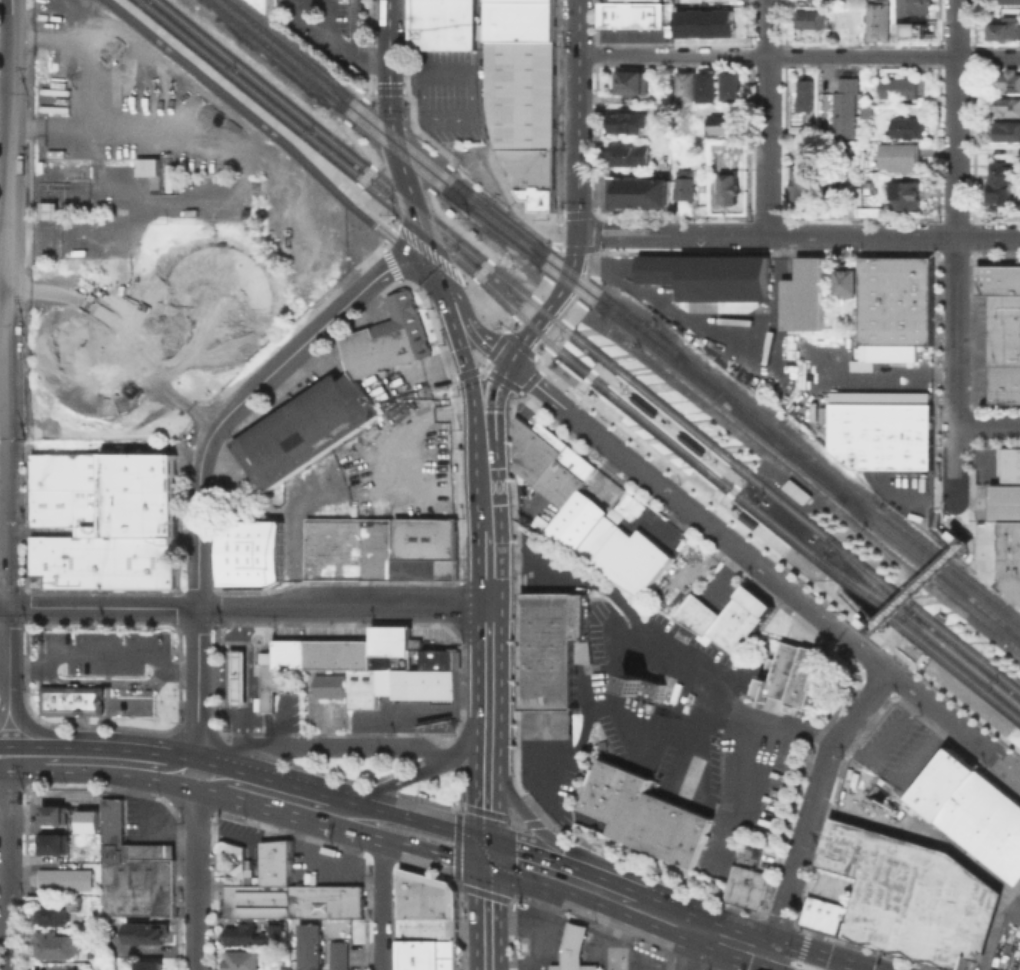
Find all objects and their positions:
building: (1010, 2)
building: (912, 7)
building: (615, 13)
building: (647, 13)
building: (522, 20)
building: (878, 20)
building: (813, 21)
building: (442, 24)
building: (709, 24)
building: (1007, 30)
building: (915, 31)
parking lot: (333, 32)
road: (336, 40)
road: (405, 45)
road: (373, 46)
road: (799, 56)
traffic signals: (388, 81)
building: (629, 81)
building: (1010, 83)
building: (686, 84)
building: (733, 84)
building: (709, 85)
road: (387, 89)
building: (901, 89)
parking lot: (446, 92)
building: (805, 93)
road: (368, 94)
road: (234, 104)
building: (1009, 108)
road: (354, 109)
road: (557, 110)
building: (846, 111)
road: (261, 112)
building: (525, 114)
road: (577, 116)
road: (767, 116)
road: (956, 117)
building: (628, 121)
building: (722, 124)
building: (909, 128)
building: (809, 129)
road: (418, 131)
building: (1008, 132)
road: (392, 136)
road: (359, 143)
building: (1014, 152)
building: (629, 154)
building: (902, 159)
building: (146, 166)
road: (365, 174)
railway: (447, 176)
road: (238, 177)
road: (439, 177)
building: (686, 183)
building: (999, 184)
road: (356, 185)
building: (729, 186)
building: (806, 188)
building: (640, 191)
building: (835, 191)
road: (348, 195)
building: (908, 196)
building: (277, 207)
road: (516, 207)
building: (47, 209)
road: (588, 210)
road: (392, 226)
road: (457, 227)
road: (556, 232)
traffic signals: (576, 233)
road: (797, 233)
road: (388, 235)
road: (396, 239)
road: (575, 240)
road: (594, 240)
road: (555, 243)
road: (554, 246)
road: (558, 246)
road: (381, 248)
road: (578, 248)
railway: (525, 249)
road: (371, 254)
road: (433, 256)
road: (550, 262)
road: (593, 262)
road: (482, 269)
road: (453, 275)
building: (711, 279)
building: (998, 279)
road: (473, 281)
building: (849, 282)
road: (406, 285)
road: (540, 287)
road: (588, 291)
building: (804, 294)
road: (456, 298)
road: (552, 298)
building: (898, 301)
road: (9, 303)
road: (489, 306)
road: (526, 308)
road: (573, 313)
building: (398, 317)
road: (511, 326)
road: (555, 334)
road: (309, 337)
road: (511, 337)
road: (486, 342)
traffic signals: (459, 346)
railway: (588, 346)
road: (459, 347)
building: (1005, 348)
building: (404, 349)
road: (527, 351)
building: (361, 352)
road: (513, 352)
building: (892, 353)
road: (488, 354)
road: (541, 354)
traffic signals: (508, 362)
railway: (575, 364)
road: (415, 369)
road: (954, 372)
road: (499, 379)
road: (529, 379)
railway: (609, 379)
road: (582, 382)
road: (564, 385)
road: (493, 394)
building: (353, 397)
building: (332, 408)
building: (314, 421)
road: (557, 421)
railway: (757, 422)
road: (987, 426)
building: (295, 434)
building: (884, 436)
road: (690, 443)
building: (276, 447)
building: (249, 448)
building: (551, 462)
building: (1009, 465)
railway: (722, 468)
building: (601, 469)
building: (265, 472)
road: (485, 478)
railway: (845, 486)
road: (306, 501)
building: (1004, 501)
road: (944, 508)
building: (106, 521)
road: (949, 523)
road: (198, 527)
building: (424, 537)
building: (348, 548)
building: (250, 551)
building: (1010, 557)
road: (486, 565)
railway: (931, 567)
building: (423, 568)
road: (762, 570)
road: (799, 575)
road: (924, 585)
road: (823, 587)
railway: (865, 588)
road: (342, 603)
road: (847, 604)
building: (1019, 604)
road: (4, 606)
road: (103, 607)
building: (699, 615)
building: (742, 620)
road: (250, 622)
railway: (919, 625)
road: (267, 629)
road: (664, 641)
road: (24, 647)
road: (106, 653)
road: (9, 655)
road: (487, 658)
building: (552, 661)
building: (376, 664)
road: (211, 671)
building: (788, 674)
road: (52, 677)
building: (237, 677)
road: (249, 677)
road: (226, 680)
road: (267, 680)
building: (267, 681)
road: (75, 682)
road: (126, 682)
road: (197, 682)
building: (330, 685)
building: (643, 686)
building: (71, 699)
road: (4, 705)
road: (595, 707)
road: (4, 709)
road: (177, 724)
road: (215, 725)
road: (196, 726)
road: (267, 726)
road: (39, 733)
road: (438, 733)
road: (665, 734)
road: (487, 735)
road: (222, 737)
road: (470, 739)
road: (446, 742)
road: (321, 743)
road: (438, 743)
road: (40, 746)
road: (238, 746)
road: (953, 746)
road: (138, 751)
road: (430, 751)
road: (451, 754)
road: (111, 761)
road: (100, 772)
road: (336, 775)
road: (261, 778)
road: (460, 783)
road: (387, 785)
road: (390, 785)
building: (947, 786)
road: (288, 797)
road: (487, 798)
road: (830, 801)
road: (428, 802)
road: (811, 803)
road: (458, 806)
road: (486, 812)
road: (4, 813)
building: (55, 813)
building: (648, 814)
road: (408, 818)
building: (88, 820)
road: (517, 820)
road: (546, 821)
road: (533, 822)
building: (990, 825)
road: (144, 828)
road: (343, 831)
traffic signals: (488, 840)
road: (456, 845)
building: (55, 846)
road: (567, 848)
road: (488, 855)
road: (309, 859)
building: (275, 862)
building: (233, 864)
road: (580, 869)
road: (7, 870)
building: (133, 870)
traffic signals: (488, 871)
building: (68, 880)
road: (197, 880)
road: (457, 884)
building: (745, 886)
road: (485, 893)
building: (911, 895)
road: (575, 898)
building: (293, 900)
building: (76, 904)
road: (380, 905)
building: (426, 906)
road: (761, 914)
building: (53, 918)
road: (488, 920)
road: (681, 922)
road: (776, 922)
road: (511, 925)
road: (798, 928)
road: (535, 930)
building: (252, 933)
road: (575, 933)
building: (150, 935)
road: (732, 941)
building: (573, 942)
gas station: (573, 942)
road: (616, 943)
building: (310, 946)
building: (59, 947)
road: (147, 948)
traffic signals: (752, 948)
road: (691, 949)
road: (801, 950)
road: (872, 950)
building: (424, 953)
building: (339, 955)
road: (729, 956)
road: (811, 956)
building: (239, 959)
traffic signals: (826, 961)
road: (775, 962)
building: (449, 963)
parking lot: (52, 965)
building: (149, 965)
building: (574, 966)

